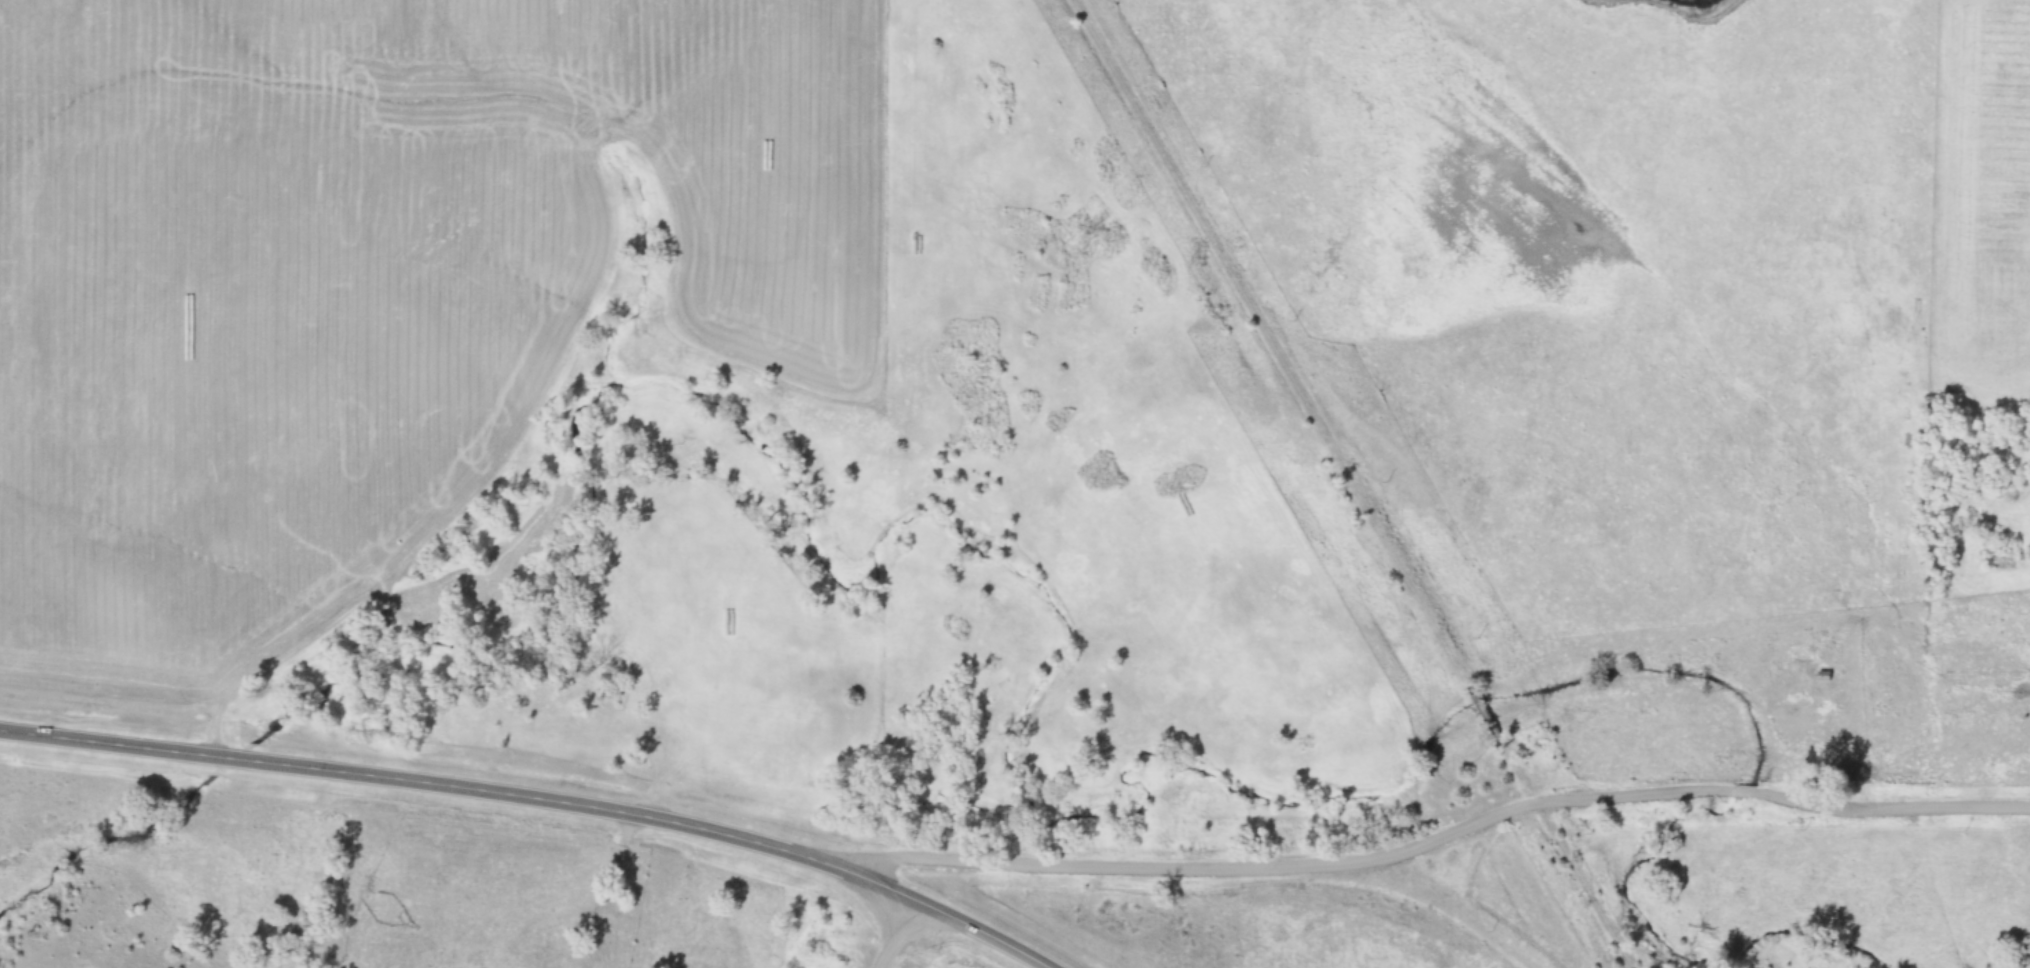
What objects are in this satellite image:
building: (1825, 676)
road: (538, 799)
road: (1441, 838)
road: (900, 933)

